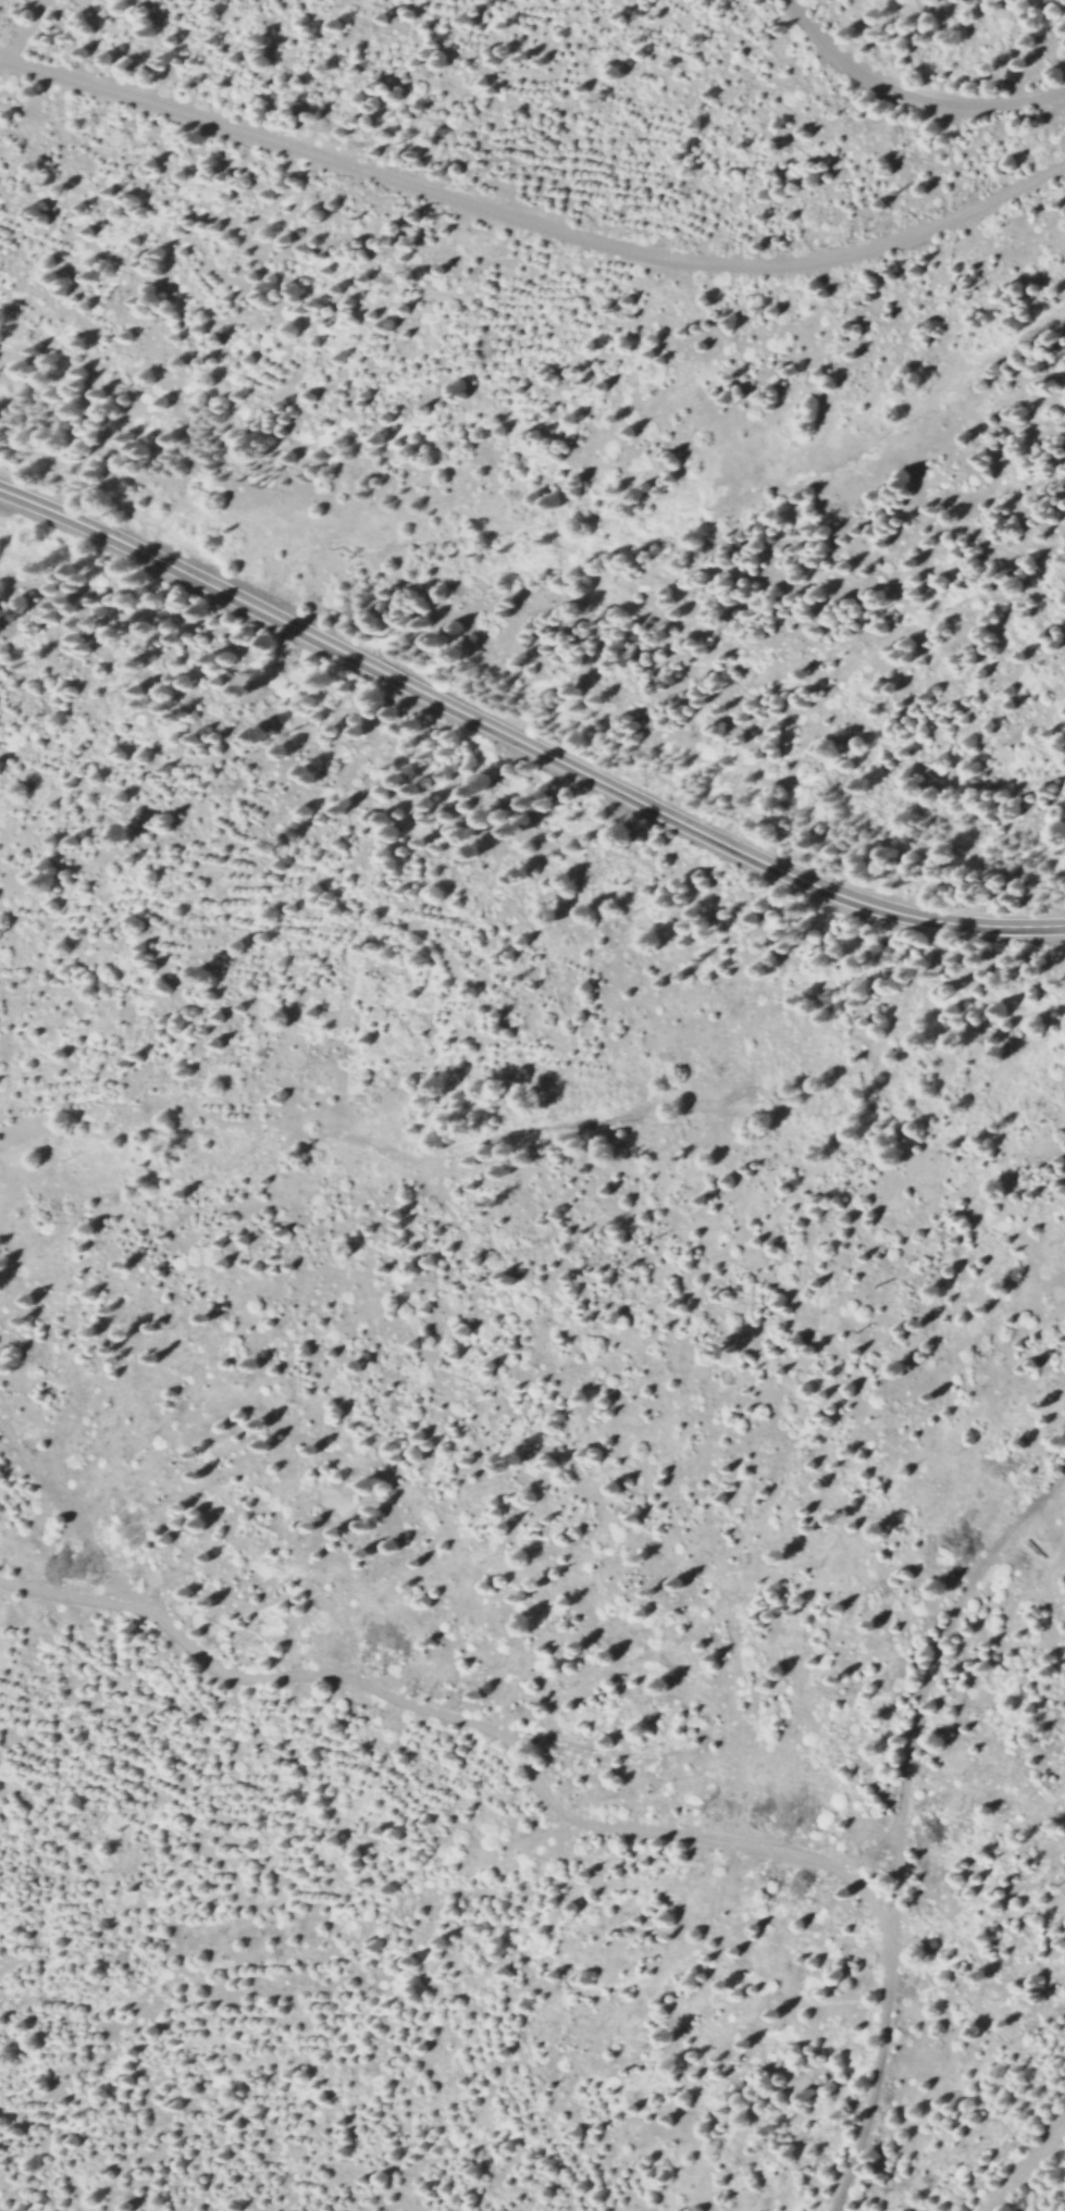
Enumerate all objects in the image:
road: (21, 28)
road: (909, 95)
road: (532, 222)
road: (522, 740)
road: (913, 1827)
road: (1025, 2164)

